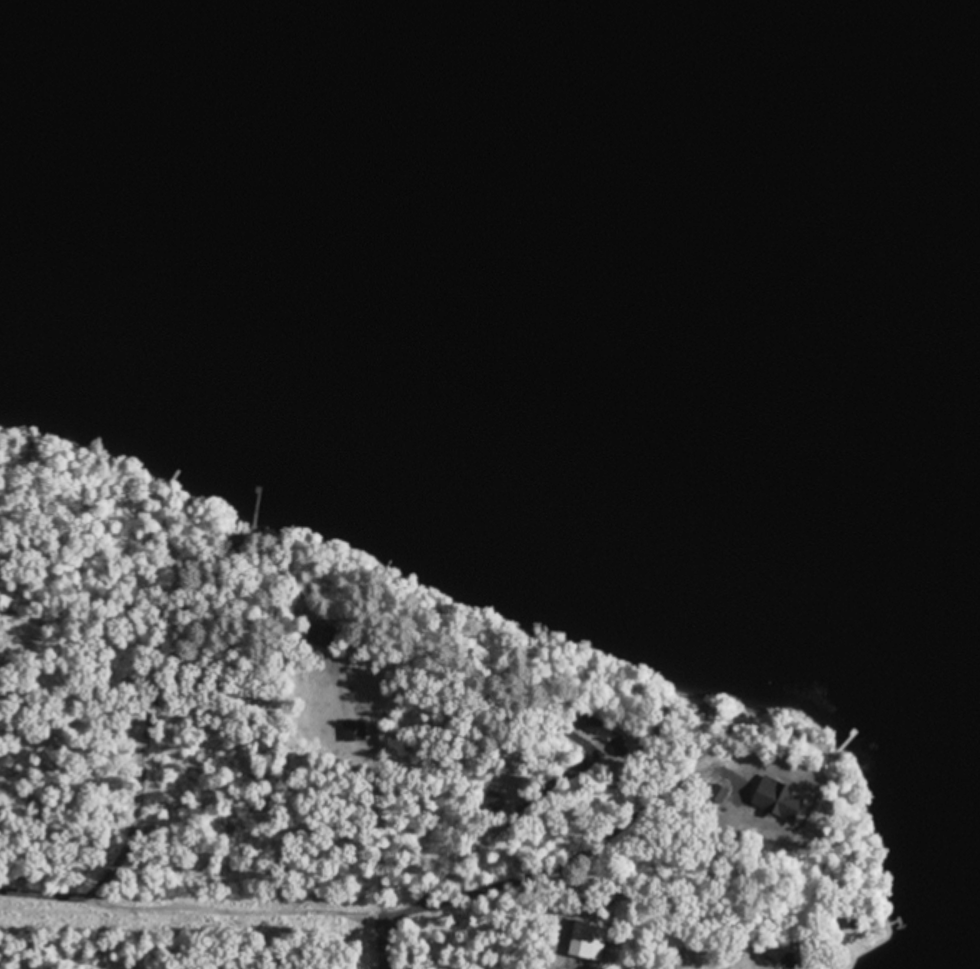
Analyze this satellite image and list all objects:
road: (382, 924)
building: (595, 942)

